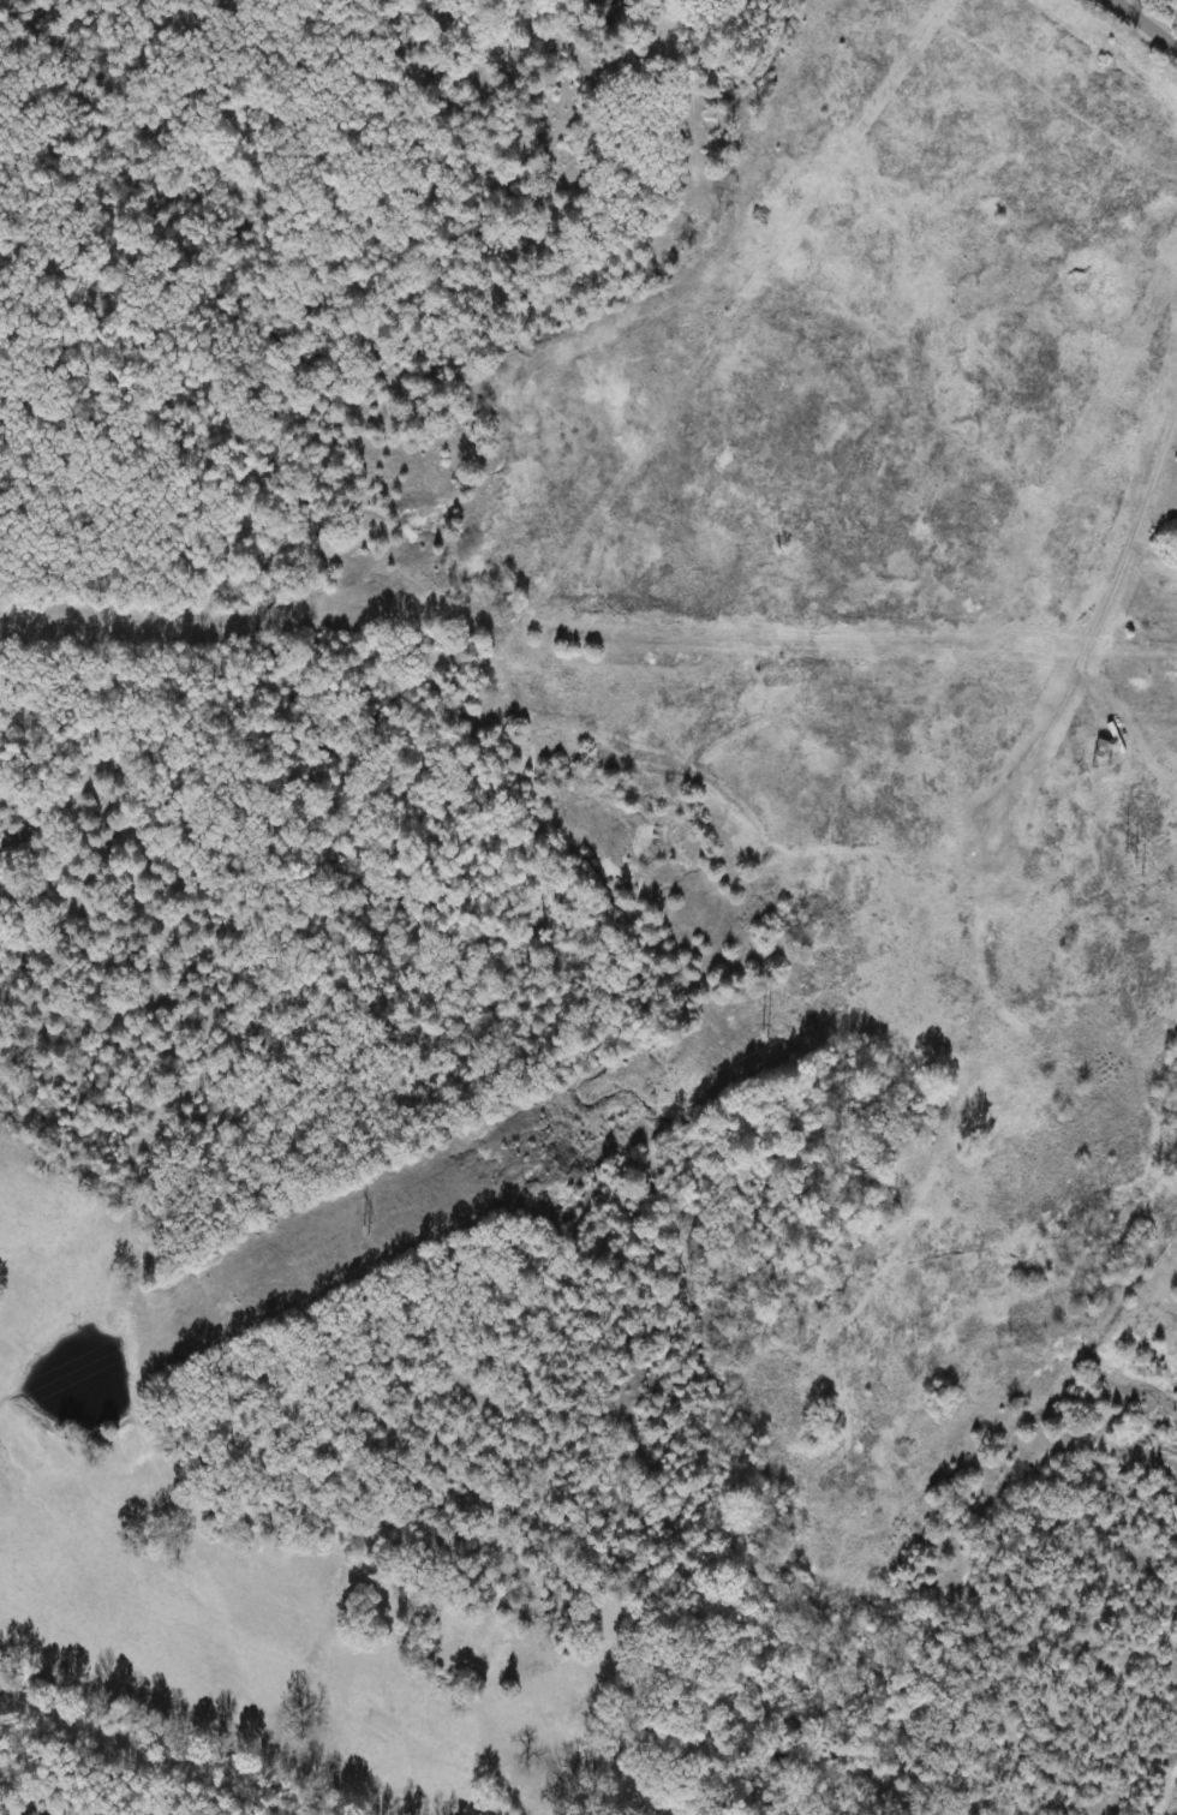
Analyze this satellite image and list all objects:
road: (1142, 25)
building: (1104, 752)
power tower: (1134, 862)
power tower: (754, 1032)
power tower: (365, 1231)

